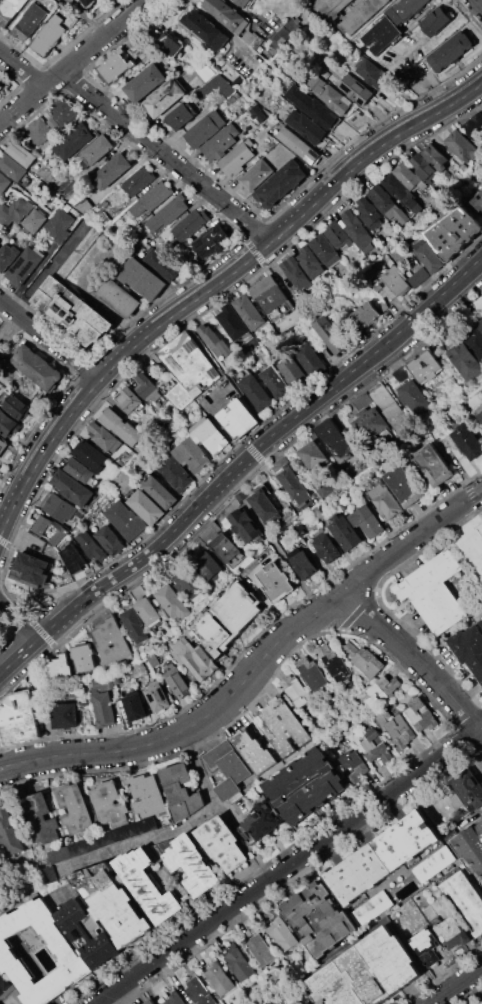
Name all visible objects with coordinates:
road: (479, 2)
building: (241, 3)
building: (89, 4)
building: (331, 8)
building: (9, 10)
building: (405, 10)
building: (224, 13)
building: (360, 15)
building: (28, 21)
building: (435, 21)
building: (204, 27)
road: (224, 29)
building: (287, 31)
building: (383, 31)
building: (49, 35)
building: (252, 38)
road: (430, 41)
building: (165, 42)
building: (450, 51)
building: (317, 59)
road: (72, 62)
building: (116, 64)
road: (21, 68)
building: (202, 71)
building: (325, 73)
building: (371, 73)
building: (145, 82)
building: (0, 84)
building: (0, 87)
building: (216, 87)
building: (355, 88)
building: (332, 95)
building: (164, 97)
building: (234, 98)
building: (310, 106)
building: (64, 111)
building: (257, 113)
building: (181, 114)
building: (472, 123)
building: (54, 124)
building: (306, 126)
building: (205, 128)
building: (40, 130)
road: (402, 131)
building: (74, 140)
building: (221, 141)
building: (297, 145)
building: (459, 145)
building: (98, 149)
building: (21, 153)
road: (167, 156)
building: (436, 158)
building: (236, 159)
building: (12, 166)
building: (422, 166)
building: (112, 171)
building: (257, 174)
building: (409, 176)
building: (138, 181)
building: (4, 183)
building: (280, 183)
building: (401, 192)
building: (1, 196)
building: (152, 198)
building: (386, 203)
building: (476, 203)
building: (83, 204)
building: (103, 205)
building: (14, 211)
building: (369, 212)
building: (167, 214)
road: (299, 215)
building: (33, 221)
building: (190, 224)
building: (59, 225)
building: (356, 228)
building: (453, 231)
building: (385, 232)
building: (338, 236)
building: (212, 241)
building: (373, 247)
building: (325, 250)
building: (78, 251)
building: (7, 256)
building: (429, 257)
building: (309, 261)
building: (23, 266)
building: (161, 266)
road: (47, 269)
building: (295, 273)
building: (140, 277)
building: (418, 277)
building: (395, 280)
road: (451, 284)
road: (213, 285)
building: (386, 294)
building: (118, 296)
building: (271, 298)
building: (383, 304)
building: (70, 311)
building: (248, 311)
building: (367, 315)
building: (481, 321)
building: (232, 323)
road: (7, 324)
building: (331, 336)
road: (49, 341)
building: (214, 342)
building: (475, 343)
road: (125, 353)
building: (0, 356)
road: (142, 356)
building: (310, 359)
building: (465, 360)
road: (214, 363)
building: (424, 365)
building: (34, 369)
building: (187, 370)
building: (293, 371)
building: (275, 380)
building: (147, 388)
building: (256, 392)
building: (411, 394)
building: (128, 399)
building: (481, 402)
building: (390, 406)
building: (16, 407)
building: (480, 407)
building: (480, 415)
building: (238, 418)
building: (368, 420)
building: (7, 425)
road: (61, 425)
building: (120, 427)
building: (208, 434)
building: (103, 436)
building: (467, 441)
building: (3, 445)
building: (341, 447)
building: (312, 454)
building: (191, 455)
building: (89, 456)
building: (434, 465)
building: (79, 470)
building: (178, 471)
road: (227, 476)
building: (292, 482)
building: (405, 485)
building: (71, 487)
building: (325, 488)
building: (161, 492)
building: (386, 502)
building: (264, 503)
road: (13, 504)
building: (58, 507)
building: (146, 507)
building: (317, 512)
building: (126, 520)
building: (366, 521)
building: (244, 525)
building: (299, 528)
building: (49, 529)
building: (345, 534)
road: (21, 538)
building: (109, 540)
building: (90, 545)
building: (326, 547)
building: (473, 549)
building: (228, 550)
building: (73, 559)
road: (285, 559)
building: (207, 563)
building: (303, 564)
building: (30, 569)
building: (276, 582)
building: (189, 583)
building: (435, 593)
road: (266, 601)
building: (173, 602)
building: (148, 611)
building: (226, 619)
road: (17, 620)
building: (480, 621)
building: (135, 625)
building: (110, 641)
road: (271, 645)
building: (468, 647)
road: (17, 657)
building: (84, 657)
building: (195, 658)
road: (416, 658)
building: (365, 659)
building: (154, 662)
building: (333, 662)
building: (61, 666)
building: (138, 669)
building: (312, 673)
building: (176, 680)
building: (381, 690)
building: (295, 691)
building: (156, 697)
building: (102, 707)
building: (134, 707)
building: (421, 714)
building: (64, 715)
building: (19, 718)
building: (284, 728)
building: (396, 728)
building: (375, 745)
building: (254, 752)
road: (23, 755)
building: (353, 764)
road: (23, 765)
building: (227, 768)
building: (306, 785)
building: (179, 790)
building: (468, 791)
building: (146, 796)
building: (108, 803)
building: (73, 808)
road: (224, 809)
building: (39, 819)
building: (262, 822)
road: (178, 826)
building: (10, 833)
building: (103, 839)
building: (220, 845)
building: (470, 850)
building: (382, 857)
building: (190, 863)
building: (433, 864)
road: (288, 865)
building: (47, 875)
building: (145, 886)
building: (465, 897)
building: (371, 907)
building: (116, 909)
building: (319, 919)
building: (451, 932)
building: (87, 933)
building: (282, 935)
building: (422, 940)
building: (64, 949)
building: (261, 951)
building: (240, 965)
building: (367, 972)
building: (220, 979)
building: (3, 984)
road: (458, 987)
building: (200, 991)
building: (173, 999)
building: (151, 1002)
building: (308, 1003)
building: (481, 1003)

